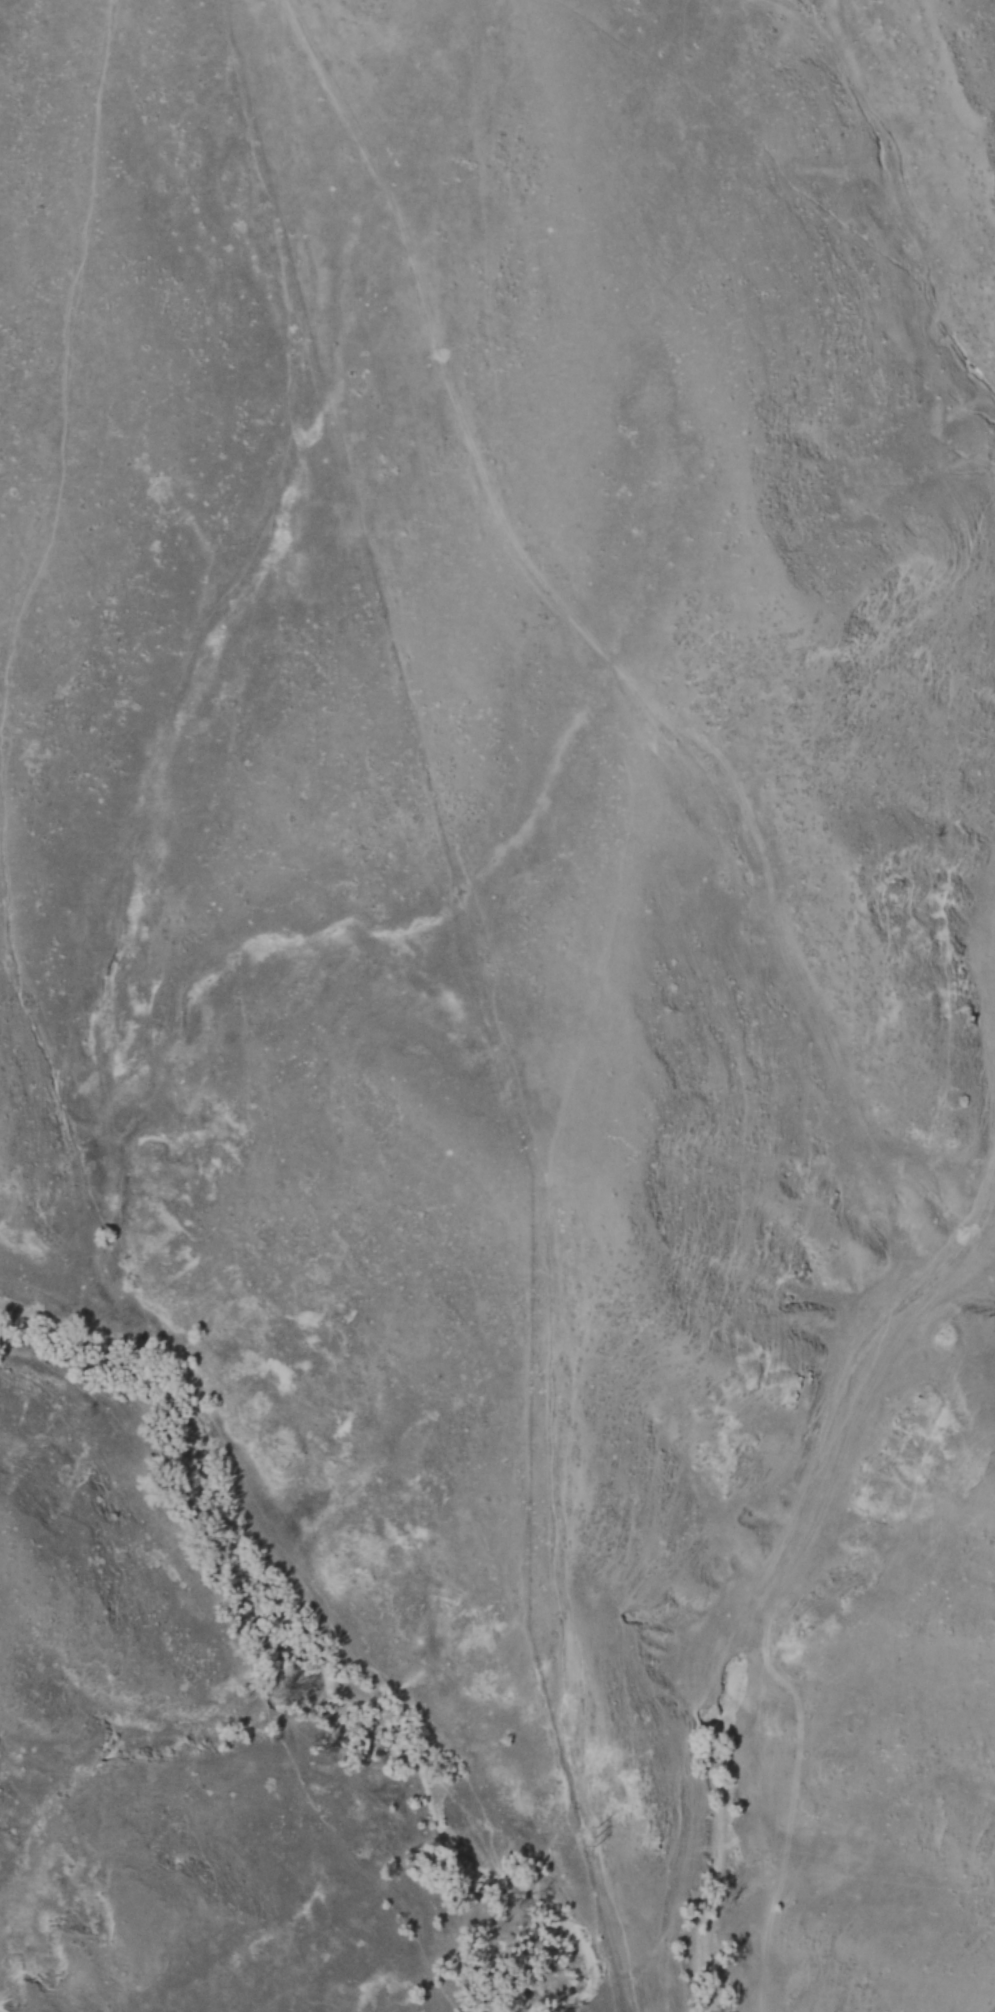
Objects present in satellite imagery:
power tower: (595, 1837)

